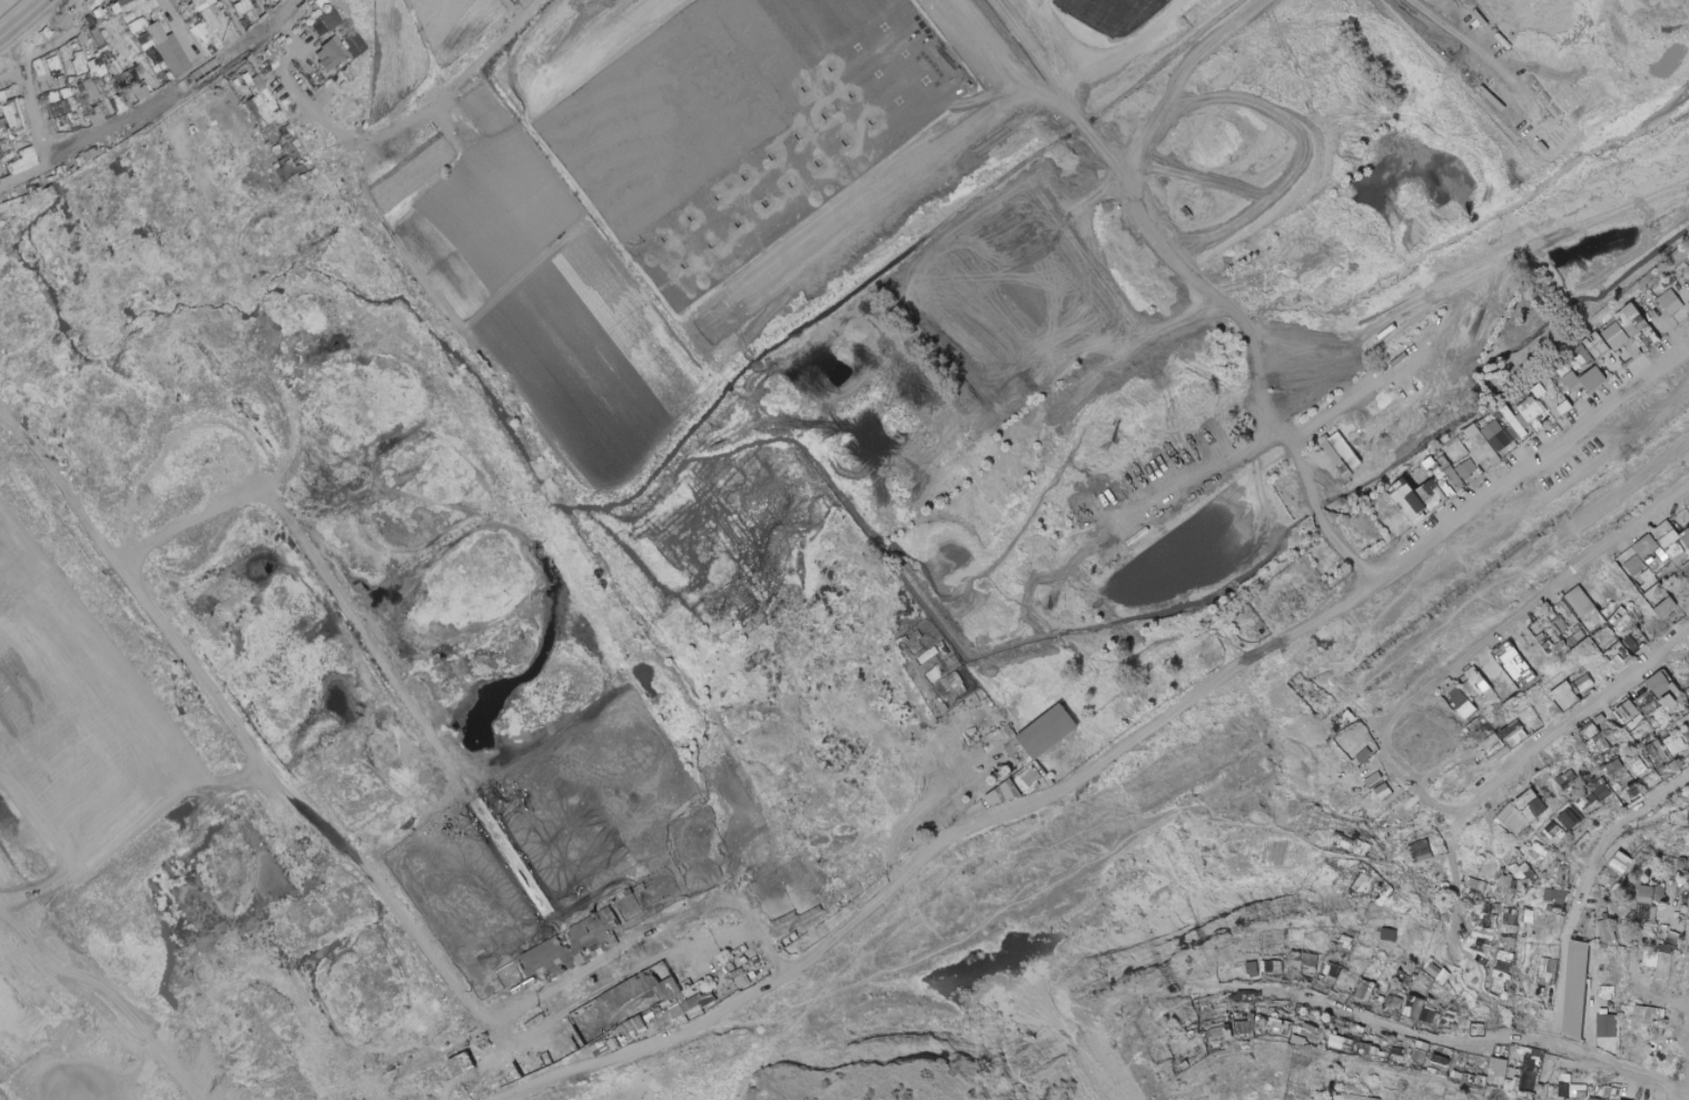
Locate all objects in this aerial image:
crop: (425, 47)
parking lot: (880, 177)
crop: (540, 283)

